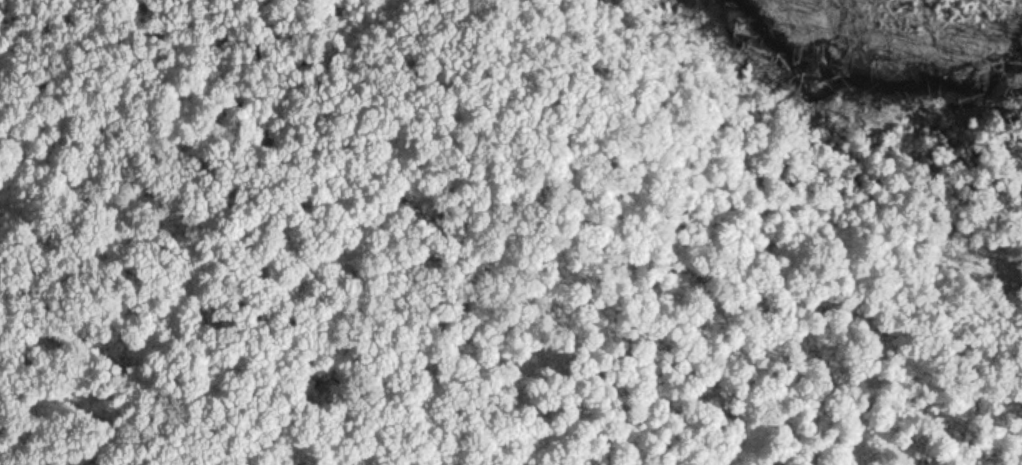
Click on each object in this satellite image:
river: (865, 78)
road: (58, 141)

